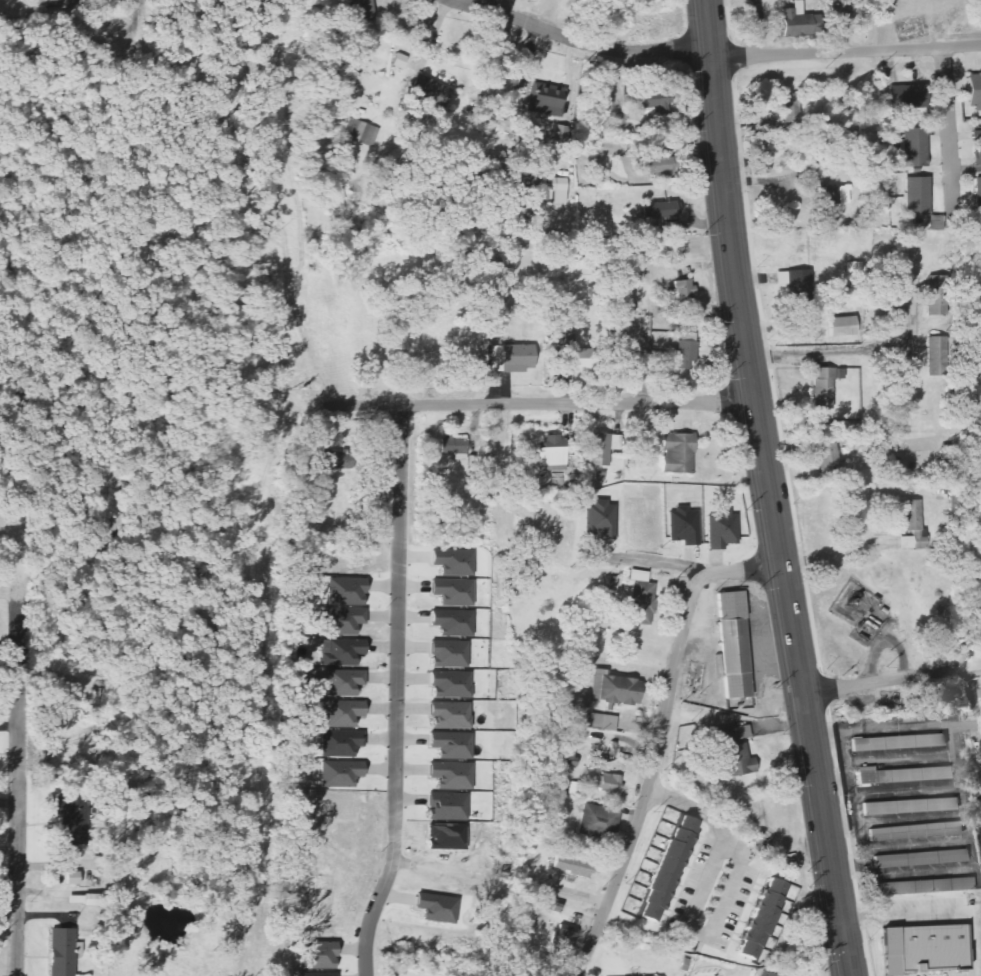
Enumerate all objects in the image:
building: (362, 11)
building: (792, 20)
road: (580, 40)
road: (845, 51)
road: (111, 89)
building: (430, 91)
building: (974, 92)
building: (903, 99)
building: (546, 100)
building: (650, 104)
building: (791, 115)
building: (617, 123)
building: (358, 132)
building: (559, 135)
road: (950, 137)
building: (914, 148)
building: (978, 148)
road: (721, 162)
building: (657, 167)
road: (48, 175)
building: (557, 190)
building: (837, 195)
building: (979, 196)
building: (918, 197)
building: (659, 211)
building: (937, 223)
road: (231, 269)
building: (853, 270)
building: (800, 290)
building: (682, 292)
building: (939, 296)
building: (842, 327)
road: (859, 350)
building: (940, 353)
building: (577, 354)
building: (684, 356)
building: (510, 359)
building: (626, 360)
building: (824, 387)
road: (537, 404)
building: (645, 446)
building: (454, 448)
building: (601, 448)
building: (676, 453)
building: (552, 454)
building: (827, 455)
building: (600, 520)
building: (682, 526)
building: (913, 526)
building: (720, 529)
building: (453, 561)
building: (345, 591)
building: (454, 592)
building: (639, 597)
building: (341, 620)
building: (453, 622)
building: (733, 644)
road: (794, 650)
building: (340, 651)
building: (449, 654)
road: (891, 679)
building: (341, 683)
building: (451, 685)
building: (612, 688)
building: (980, 691)
road: (398, 693)
building: (340, 712)
building: (450, 715)
building: (602, 721)
road: (659, 741)
building: (340, 742)
building: (897, 742)
building: (451, 744)
building: (564, 746)
building: (733, 749)
building: (301, 750)
building: (339, 773)
building: (901, 774)
building: (451, 775)
building: (607, 782)
road: (16, 788)
building: (908, 806)
building: (446, 807)
building: (78, 821)
building: (597, 821)
building: (915, 831)
building: (920, 858)
building: (570, 865)
building: (665, 868)
building: (76, 879)
building: (924, 886)
road: (724, 901)
building: (436, 907)
building: (760, 918)
building: (562, 937)
building: (920, 948)
building: (61, 952)
building: (317, 955)
building: (316, 974)
building: (765, 974)

